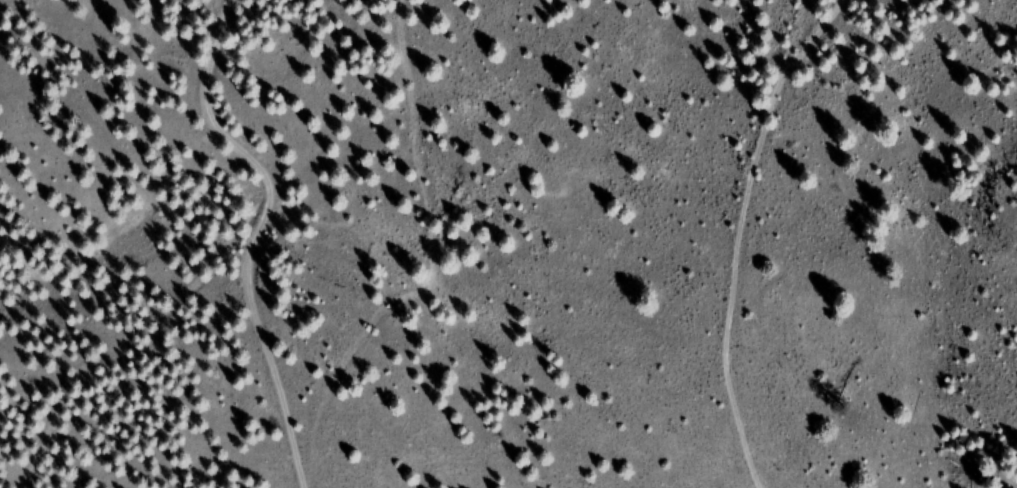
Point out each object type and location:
road: (258, 231)
road: (739, 232)

